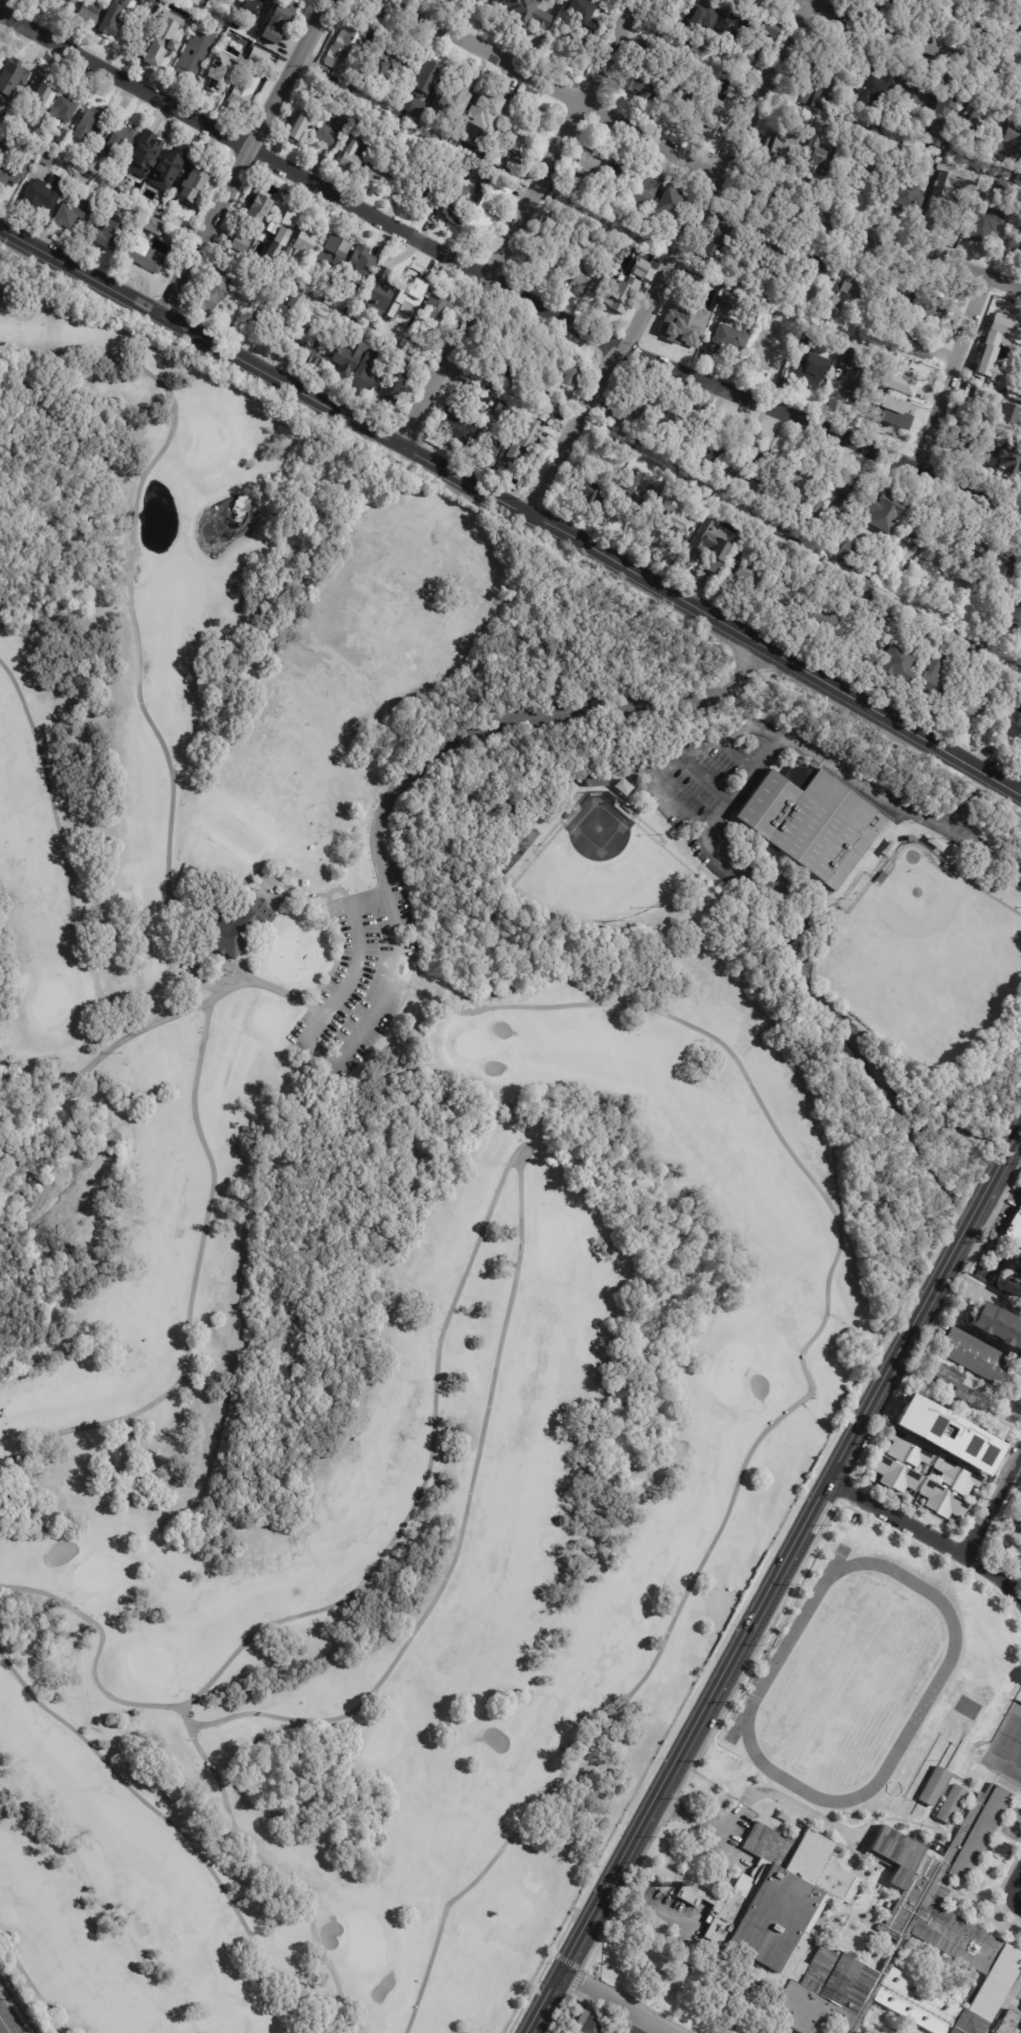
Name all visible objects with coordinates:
building: (269, 0)
building: (466, 0)
building: (161, 2)
building: (477, 2)
road: (4, 6)
building: (680, 8)
building: (249, 9)
building: (988, 12)
building: (528, 13)
building: (90, 17)
building: (706, 18)
building: (279, 20)
building: (735, 22)
road: (950, 25)
building: (1013, 26)
building: (591, 27)
building: (770, 30)
building: (128, 36)
building: (167, 41)
road: (918, 41)
building: (348, 44)
building: (198, 54)
building: (823, 54)
building: (261, 57)
building: (856, 58)
building: (388, 70)
building: (430, 72)
building: (220, 77)
building: (666, 78)
building: (11, 83)
building: (876, 84)
building: (246, 87)
building: (324, 93)
building: (819, 94)
building: (914, 95)
building: (398, 96)
building: (40, 98)
building: (454, 99)
building: (417, 108)
building: (488, 110)
building: (64, 111)
building: (938, 114)
building: (972, 121)
building: (358, 123)
building: (92, 126)
building: (302, 127)
building: (335, 131)
building: (524, 132)
building: (398, 134)
building: (64, 137)
building: (1009, 138)
building: (29, 139)
building: (118, 141)
building: (782, 142)
building: (0, 144)
building: (144, 156)
road: (242, 156)
building: (353, 159)
building: (47, 161)
building: (813, 161)
building: (592, 162)
road: (695, 164)
building: (514, 165)
building: (94, 168)
building: (382, 169)
building: (414, 169)
building: (171, 170)
building: (15, 173)
building: (621, 175)
building: (483, 177)
building: (1019, 177)
building: (198, 181)
building: (434, 186)
building: (1007, 190)
building: (903, 191)
building: (572, 193)
building: (51, 194)
building: (645, 202)
building: (117, 206)
building: (492, 209)
building: (669, 210)
building: (259, 211)
building: (76, 214)
building: (457, 214)
building: (571, 220)
road: (514, 222)
building: (982, 223)
building: (157, 228)
building: (284, 229)
building: (654, 236)
building: (711, 237)
building: (112, 238)
building: (276, 242)
building: (241, 244)
building: (310, 244)
building: (593, 246)
building: (1014, 247)
building: (767, 249)
building: (548, 253)
building: (148, 257)
building: (335, 259)
road: (668, 259)
building: (360, 262)
building: (815, 267)
building: (357, 279)
building: (594, 282)
building: (848, 282)
road: (501, 286)
building: (626, 288)
building: (412, 290)
building: (383, 294)
building: (896, 295)
building: (213, 300)
building: (725, 300)
building: (302, 303)
building: (829, 304)
building: (930, 307)
building: (438, 310)
building: (277, 318)
building: (679, 322)
building: (408, 325)
building: (785, 327)
building: (721, 341)
building: (915, 341)
building: (414, 345)
building: (318, 348)
building: (995, 349)
building: (496, 352)
building: (762, 355)
building: (529, 357)
building: (349, 359)
building: (809, 363)
road: (952, 370)
building: (368, 371)
building: (567, 372)
building: (852, 375)
building: (895, 378)
building: (396, 382)
building: (491, 392)
building: (969, 392)
building: (518, 394)
building: (994, 401)
building: (631, 404)
building: (976, 409)
building: (889, 410)
building: (504, 413)
building: (1008, 414)
building: (453, 419)
building: (673, 423)
building: (1001, 425)
building: (969, 426)
building: (706, 434)
park: (205, 442)
building: (528, 445)
building: (490, 450)
building: (1006, 454)
building: (710, 455)
building: (763, 461)
building: (795, 479)
building: (684, 485)
building: (840, 488)
building: (583, 490)
building: (636, 499)
building: (885, 503)
building: (814, 507)
road: (510, 511)
building: (673, 526)
building: (905, 533)
building: (976, 547)
building: (702, 548)
building: (914, 548)
building: (848, 550)
building: (788, 553)
building: (924, 559)
building: (938, 560)
building: (740, 570)
building: (1002, 570)
building: (980, 578)
building: (792, 592)
building: (873, 597)
building: (1015, 615)
building: (819, 618)
road: (132, 621)
building: (930, 639)
road: (852, 654)
building: (892, 663)
building: (993, 663)
building: (932, 679)
building: (977, 704)
building: (1010, 716)
road: (675, 757)
building: (798, 774)
building: (593, 781)
building: (622, 786)
building: (976, 814)
building: (812, 823)
road: (377, 838)
building: (906, 839)
building: (935, 843)
parking lot: (724, 848)
road: (734, 865)
road: (66, 866)
park: (602, 866)
building: (504, 868)
building: (947, 869)
building: (878, 878)
building: (239, 925)
building: (821, 951)
park: (292, 954)
park: (927, 956)
parking lot: (361, 978)
park: (49, 998)
park: (475, 1045)
road: (954, 1107)
road: (213, 1176)
road: (520, 1185)
park: (355, 1221)
building: (1014, 1226)
road: (841, 1231)
park: (554, 1238)
building: (1012, 1286)
road: (983, 1288)
building: (998, 1326)
building: (973, 1356)
park: (732, 1372)
building: (956, 1386)
building: (950, 1432)
building: (899, 1441)
building: (921, 1452)
building: (947, 1465)
building: (886, 1467)
building: (908, 1478)
building: (967, 1479)
building: (932, 1491)
road: (992, 1504)
building: (953, 1505)
building: (1017, 1520)
road: (928, 1535)
building: (1018, 1559)
park: (94, 1574)
road: (776, 1581)
road: (98, 1648)
park: (149, 1664)
park: (855, 1675)
track: (764, 1684)
park: (1008, 1739)
park: (1006, 1746)
park: (1018, 1761)
building: (933, 1786)
road: (1010, 1787)
road: (753, 1796)
building: (949, 1803)
building: (784, 1816)
road: (1011, 1824)
road: (172, 1825)
road: (279, 1875)
road: (1016, 1876)
building: (689, 1893)
road: (1014, 1896)
road: (653, 1910)
building: (764, 1910)
parking lot: (668, 1919)
park: (364, 1942)
road: (30, 1986)
road: (616, 2003)
building: (1020, 2008)
building: (1020, 2010)
building: (1005, 2022)
building: (589, 2023)
road: (638, 2025)
road: (4, 2026)
building: (567, 2030)

